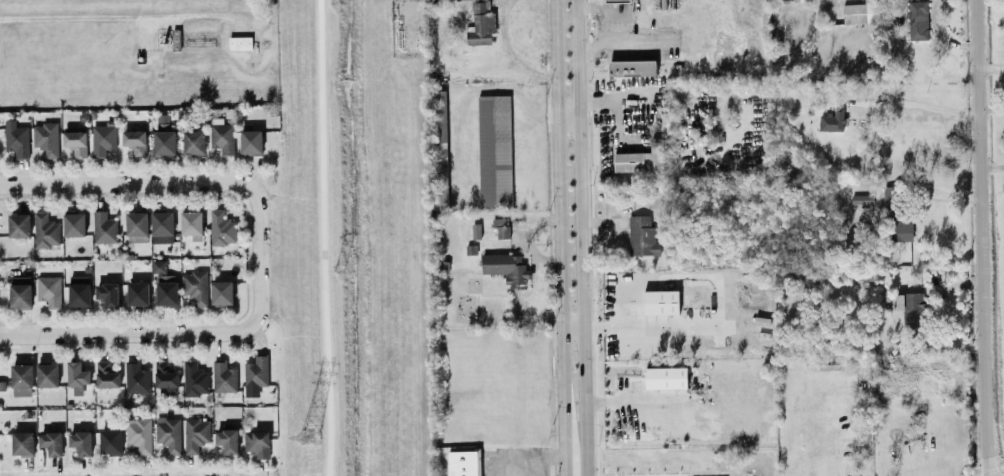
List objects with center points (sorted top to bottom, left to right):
building: (616, 0)
building: (860, 12)
road: (109, 19)
building: (916, 19)
building: (479, 24)
road: (610, 26)
building: (238, 42)
building: (631, 67)
road: (915, 103)
building: (831, 119)
road: (568, 121)
building: (220, 135)
building: (16, 138)
building: (46, 138)
building: (102, 139)
building: (134, 141)
building: (193, 141)
building: (250, 141)
building: (75, 142)
building: (163, 142)
building: (440, 147)
building: (493, 150)
building: (638, 158)
road: (158, 184)
building: (887, 195)
building: (860, 198)
building: (190, 222)
building: (73, 224)
building: (19, 225)
building: (136, 226)
building: (161, 226)
building: (103, 227)
building: (221, 227)
building: (500, 227)
building: (45, 230)
building: (901, 230)
building: (641, 236)
road: (559, 237)
road: (580, 237)
road: (322, 238)
road: (980, 238)
building: (158, 265)
building: (505, 266)
building: (194, 286)
building: (165, 289)
building: (48, 290)
building: (20, 291)
building: (221, 291)
building: (137, 292)
building: (79, 294)
building: (108, 294)
road: (715, 298)
building: (660, 301)
building: (910, 306)
road: (571, 332)
road: (160, 333)
building: (255, 371)
building: (47, 374)
building: (164, 374)
building: (105, 375)
building: (77, 376)
building: (223, 376)
building: (135, 377)
building: (665, 377)
building: (193, 378)
building: (21, 379)
building: (167, 433)
building: (138, 434)
building: (194, 434)
power tower: (305, 437)
building: (226, 439)
building: (51, 442)
building: (80, 442)
building: (110, 442)
building: (256, 442)
building: (22, 443)
building: (462, 463)

